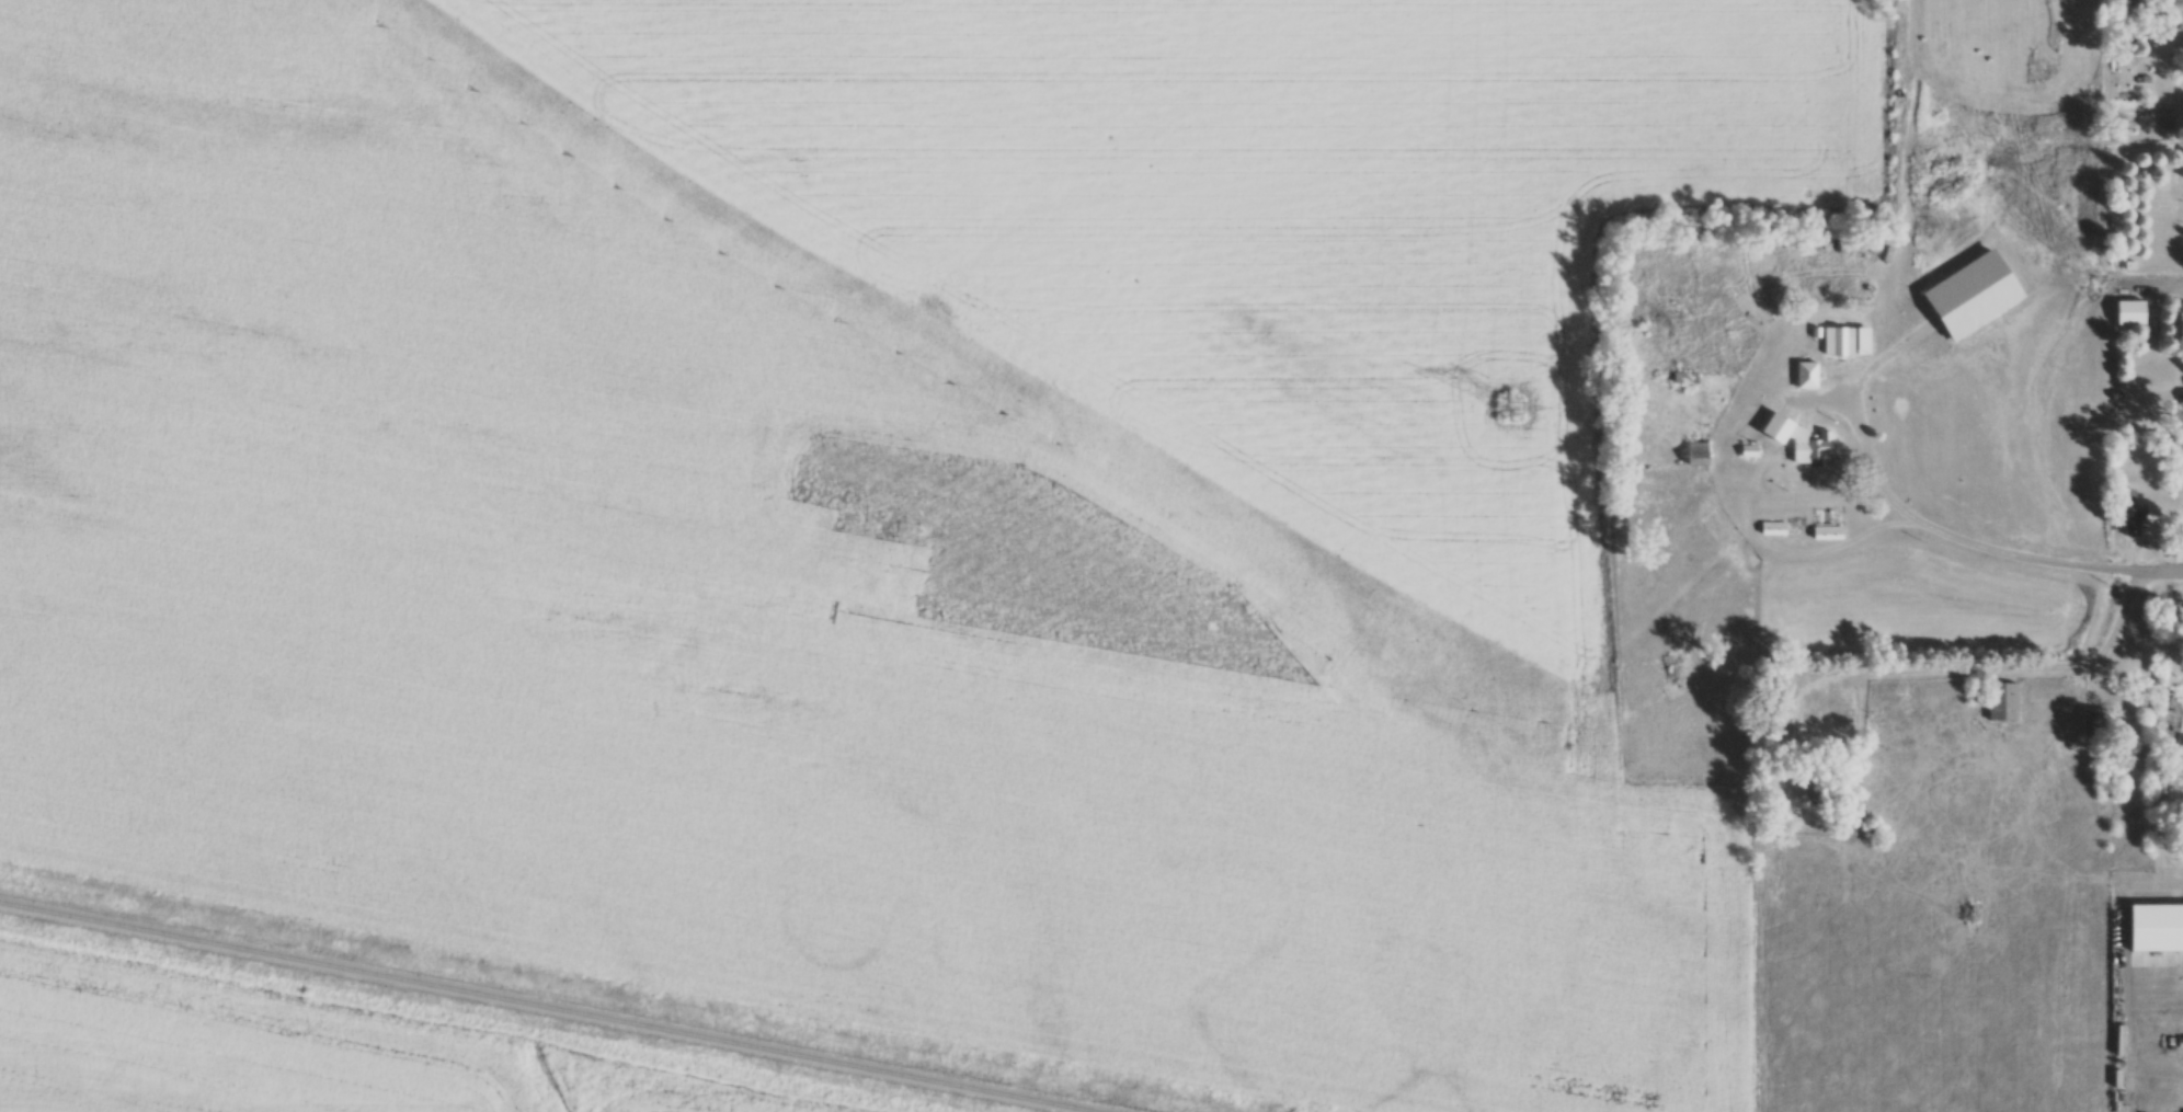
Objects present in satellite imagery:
road: (2156, 286)
building: (2131, 311)
building: (1849, 340)
building: (1808, 374)
power tower: (1516, 406)
building: (1815, 447)
building: (1699, 451)
crop: (944, 492)
building: (2134, 514)
road: (1961, 537)
road: (2162, 575)
road: (2023, 667)
building: (2004, 701)
building: (2096, 722)
building: (1813, 789)
building: (2158, 927)
railway: (549, 1007)
crop: (299, 1054)

